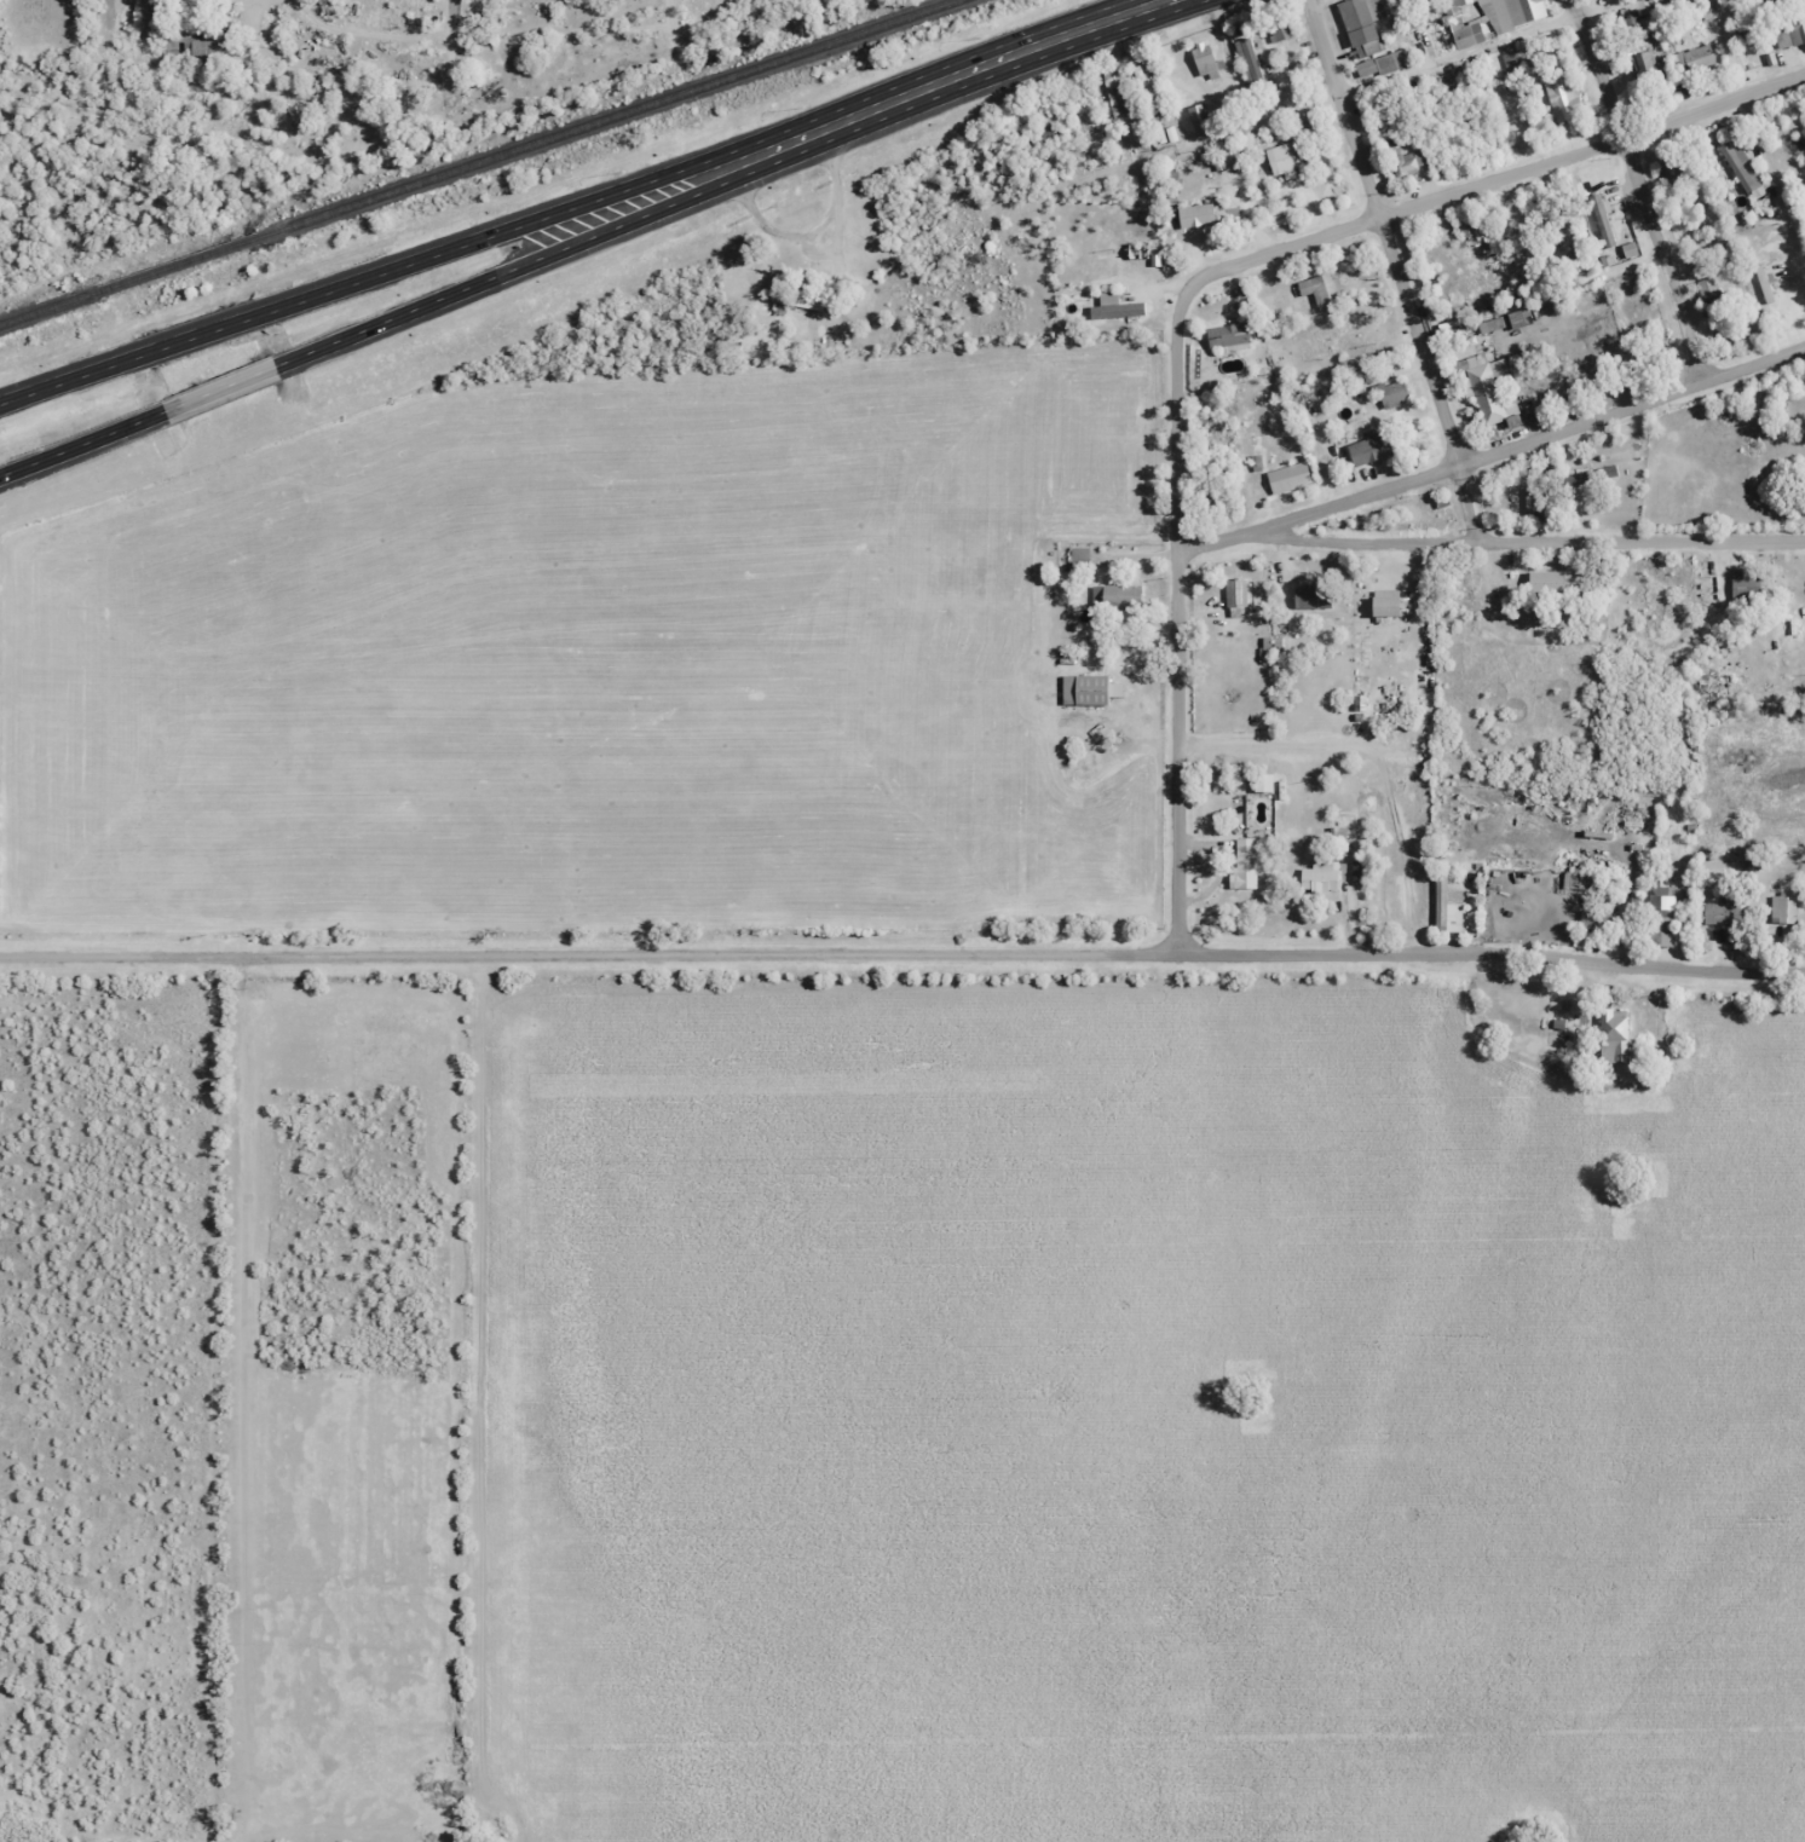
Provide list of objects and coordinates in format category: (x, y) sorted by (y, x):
road: (671, 21)
building: (1467, 21)
building: (1636, 25)
building: (1359, 27)
building: (1281, 30)
building: (1789, 33)
road: (1480, 46)
road: (1008, 57)
building: (1697, 57)
building: (1250, 60)
building: (1205, 62)
building: (1386, 62)
building: (1644, 64)
building: (1563, 98)
railway: (605, 119)
building: (1200, 119)
building: (1281, 158)
building: (1740, 167)
road: (1497, 180)
road: (1643, 187)
road: (557, 215)
building: (1195, 215)
building: (1601, 220)
road: (1167, 230)
building: (1469, 231)
road: (1385, 232)
road: (564, 247)
building: (1628, 249)
railway: (178, 264)
building: (1320, 289)
building: (1708, 291)
building: (805, 299)
building: (1115, 307)
railway: (47, 308)
road: (200, 334)
building: (1227, 335)
road: (67, 379)
road: (220, 387)
building: (1483, 389)
building: (1390, 392)
road: (82, 441)
building: (1366, 449)
road: (1492, 454)
building: (1590, 475)
building: (1290, 477)
building: (1529, 502)
road: (1466, 503)
road: (1532, 541)
building: (1079, 559)
building: (1745, 584)
building: (1114, 596)
building: (1235, 596)
building: (1311, 596)
building: (1384, 602)
road: (1177, 620)
building: (1086, 689)
building: (1261, 783)
building: (1244, 862)
building: (1319, 877)
building: (1444, 910)
building: (1783, 910)
building: (1722, 913)
building: (1661, 916)
building: (1591, 919)
road: (902, 954)
building: (1613, 1038)

